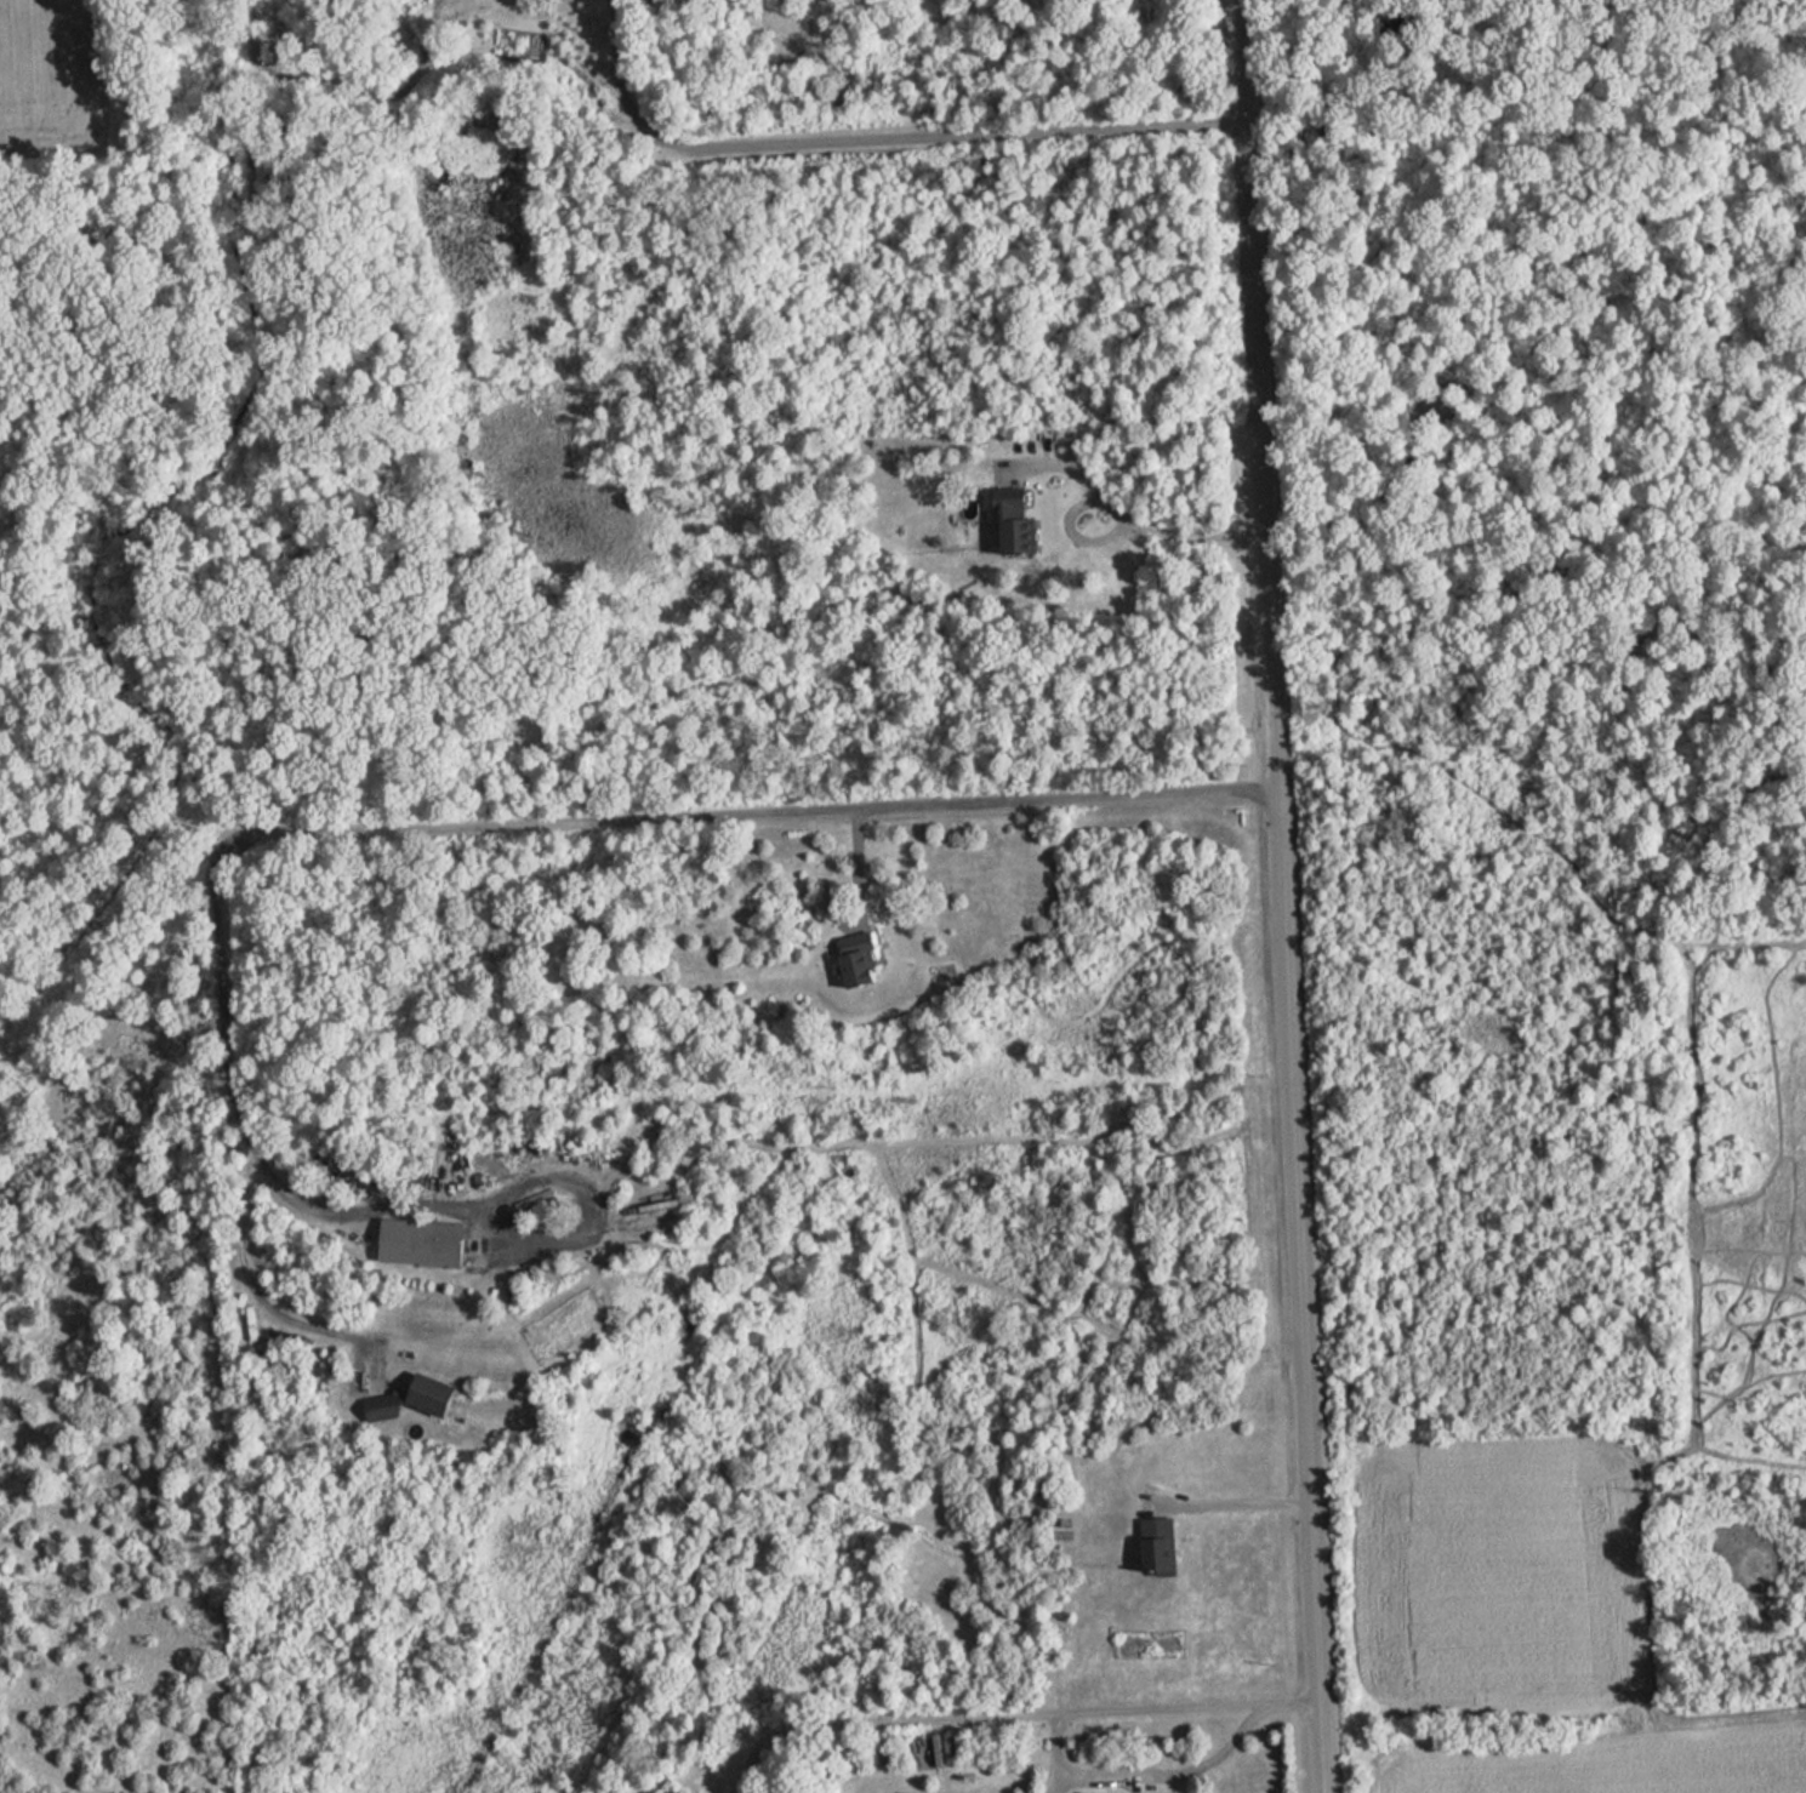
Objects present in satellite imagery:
building: (656, 0)
road: (872, 137)
road: (1132, 521)
building: (1019, 526)
road: (512, 818)
road: (1277, 896)
building: (864, 959)
building: (425, 1241)
road: (251, 1284)
building: (438, 1394)
building: (387, 1405)
road: (1241, 1503)
building: (1161, 1555)
road: (1007, 1715)
road: (1146, 1774)
building: (676, 1791)

